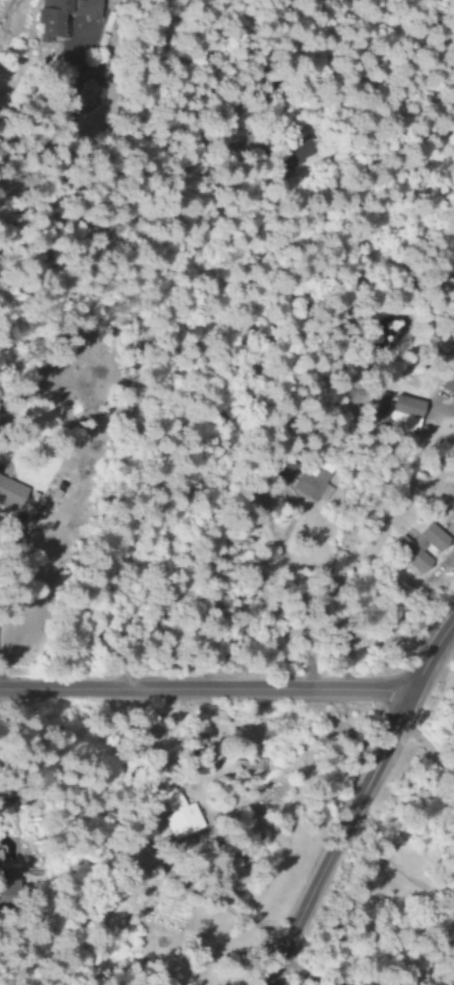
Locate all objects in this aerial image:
building: (50, 18)
building: (448, 383)
building: (400, 412)
building: (283, 471)
building: (311, 480)
building: (9, 494)
building: (415, 547)
road: (3, 597)
road: (204, 691)
building: (191, 742)
road: (355, 799)
building: (176, 818)
building: (3, 887)

